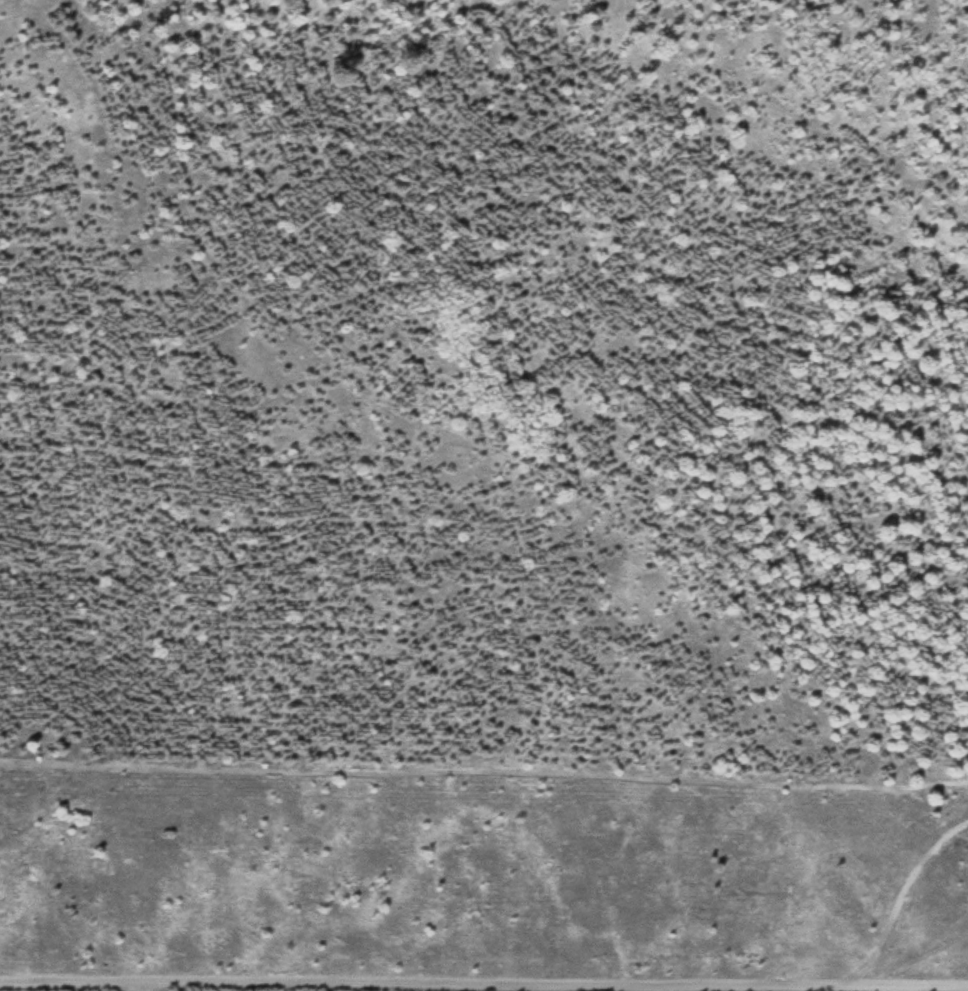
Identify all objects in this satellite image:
road: (65, 904)
road: (484, 981)

